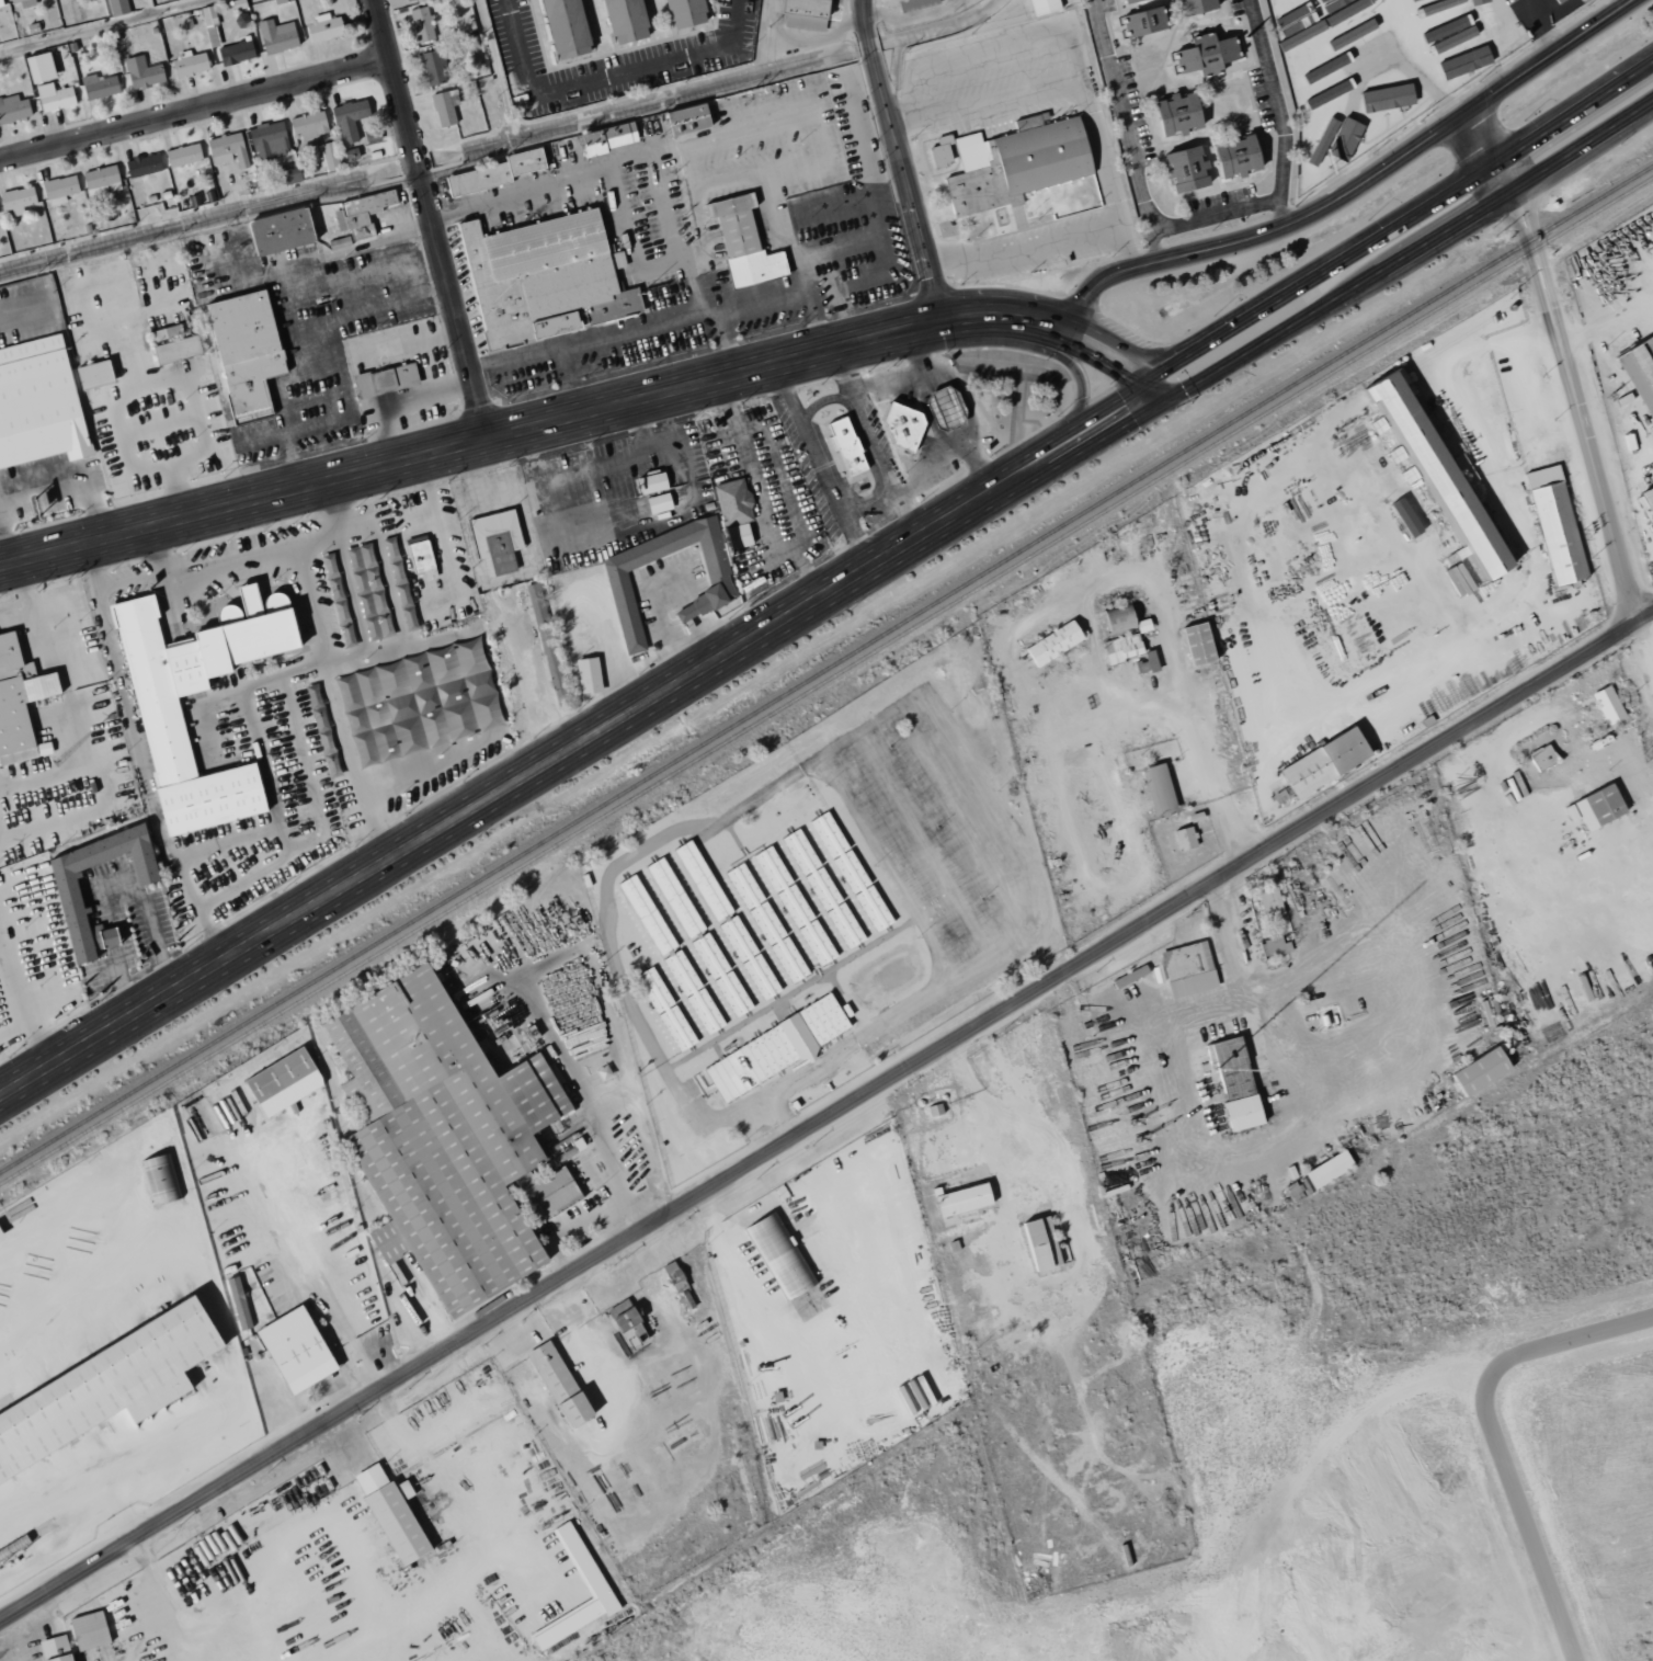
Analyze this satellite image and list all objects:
building: (408, 0)
building: (1412, 0)
building: (1128, 1)
building: (1477, 1)
building: (22, 3)
building: (914, 3)
building: (0, 5)
building: (1195, 5)
building: (1042, 7)
building: (1433, 7)
building: (117, 8)
building: (1286, 12)
building: (683, 13)
building: (802, 13)
building: (1440, 19)
building: (624, 20)
building: (1141, 22)
building: (420, 24)
building: (323, 27)
building: (563, 27)
building: (1494, 29)
building: (1451, 33)
building: (275, 36)
building: (235, 53)
building: (1297, 54)
building: (1205, 55)
building: (187, 64)
building: (434, 67)
building: (38, 68)
building: (141, 72)
road: (605, 78)
building: (98, 87)
road: (1275, 88)
building: (53, 98)
building: (1386, 98)
road: (1119, 101)
building: (444, 107)
building: (13, 109)
road: (195, 112)
road: (1573, 112)
building: (1175, 115)
building: (347, 120)
building: (685, 120)
building: (308, 125)
building: (606, 139)
building: (1343, 139)
building: (267, 140)
building: (227, 150)
building: (941, 152)
building: (182, 156)
building: (1234, 156)
building: (327, 157)
road: (899, 161)
building: (1015, 163)
building: (141, 166)
building: (1184, 169)
building: (493, 173)
road: (1480, 174)
road: (412, 179)
building: (99, 180)
road: (1355, 187)
building: (58, 189)
building: (16, 201)
road: (1283, 203)
building: (360, 214)
road: (431, 221)
road: (155, 230)
building: (278, 231)
road: (1151, 232)
building: (743, 242)
building: (338, 243)
road: (1404, 254)
building: (543, 278)
road: (1301, 283)
road: (972, 316)
road: (1034, 321)
building: (172, 344)
road: (1098, 348)
building: (243, 353)
road: (1564, 362)
building: (1643, 362)
road: (1071, 367)
traffic signals: (1132, 367)
traffic signals: (1163, 367)
building: (92, 375)
building: (385, 380)
road: (1142, 382)
road: (823, 400)
building: (37, 403)
building: (945, 408)
traffic signals: (1128, 408)
building: (904, 425)
road: (874, 444)
building: (846, 445)
road: (471, 446)
road: (821, 465)
building: (1435, 473)
road: (76, 474)
building: (651, 482)
building: (658, 503)
road: (870, 508)
building: (733, 512)
building: (1404, 517)
building: (1555, 525)
road: (440, 532)
building: (495, 539)
road: (3, 553)
road: (297, 556)
building: (420, 558)
road: (1125, 574)
road: (205, 576)
road: (127, 577)
building: (619, 583)
building: (1117, 619)
building: (1141, 625)
building: (548, 642)
building: (1052, 642)
building: (1197, 644)
road: (1644, 647)
building: (1121, 648)
building: (506, 662)
building: (1145, 662)
railway: (827, 668)
road: (301, 669)
building: (586, 675)
building: (479, 678)
railway: (825, 680)
building: (19, 703)
building: (1607, 705)
road: (127, 710)
building: (163, 731)
road: (251, 737)
road: (574, 744)
building: (1541, 758)
road: (353, 761)
building: (1322, 762)
road: (306, 770)
building: (1156, 789)
building: (1598, 807)
road: (247, 835)
building: (1184, 838)
building: (703, 880)
road: (1626, 886)
building: (66, 894)
building: (1272, 911)
railway: (516, 926)
building: (654, 929)
road: (1233, 938)
building: (1273, 947)
building: (819, 951)
building: (1187, 969)
road: (1398, 971)
building: (1129, 976)
building: (739, 1006)
building: (665, 1009)
building: (774, 1049)
building: (1479, 1071)
building: (281, 1082)
building: (1233, 1084)
building: (933, 1110)
road: (825, 1115)
building: (438, 1137)
road: (1235, 1157)
building: (1327, 1170)
building: (160, 1179)
building: (549, 1192)
building: (961, 1199)
road: (703, 1207)
building: (0, 1237)
building: (1039, 1243)
building: (779, 1255)
building: (238, 1302)
building: (623, 1318)
building: (294, 1351)
road: (840, 1366)
building: (557, 1385)
building: (104, 1389)
building: (389, 1514)
building: (581, 1565)
building: (88, 1630)
building: (54, 1649)

